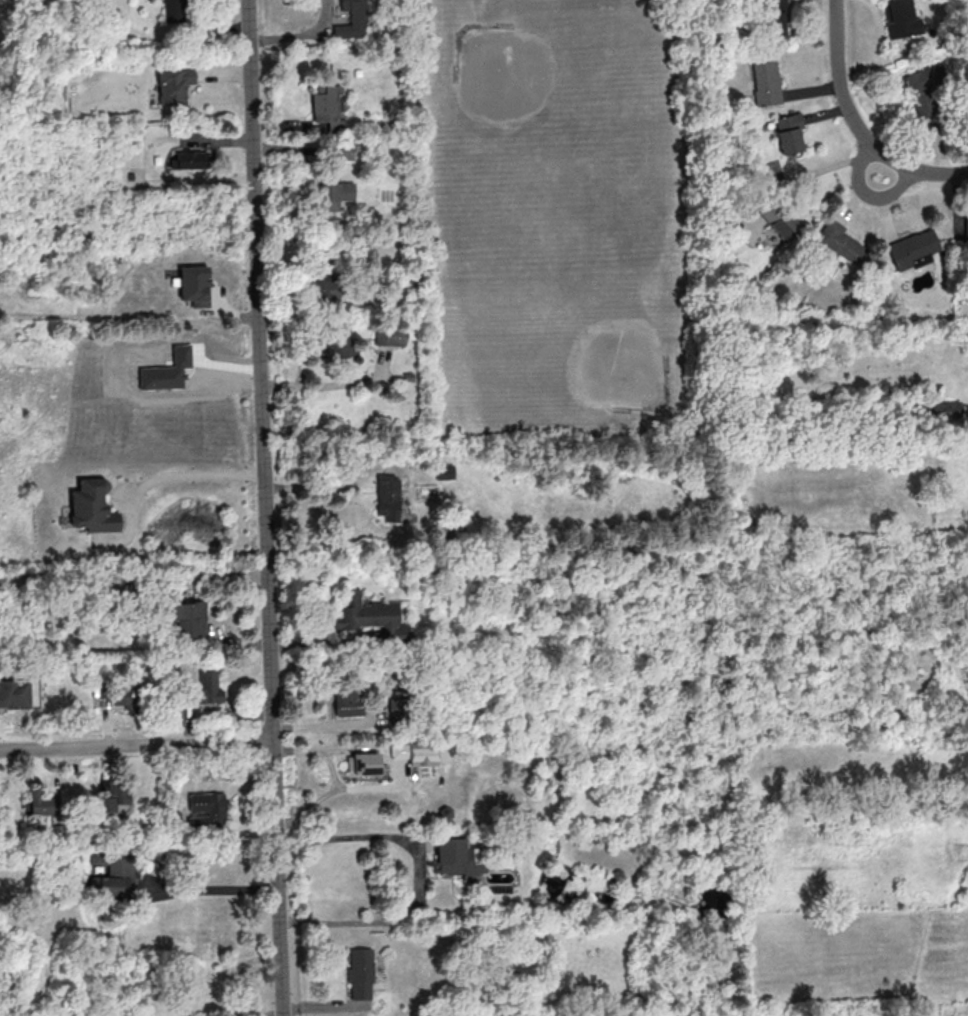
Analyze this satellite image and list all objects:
building: (175, 10)
building: (773, 16)
building: (352, 19)
building: (765, 80)
building: (174, 85)
road: (842, 89)
building: (924, 91)
building: (324, 103)
park: (535, 103)
building: (788, 133)
building: (344, 151)
building: (189, 159)
road: (929, 172)
building: (329, 196)
building: (777, 219)
building: (965, 228)
building: (840, 240)
building: (912, 248)
building: (193, 284)
building: (321, 288)
building: (388, 336)
park: (596, 341)
building: (331, 346)
building: (165, 370)
building: (944, 410)
building: (443, 471)
road: (159, 477)
building: (386, 496)
building: (91, 507)
road: (264, 508)
building: (364, 614)
building: (187, 619)
road: (770, 660)
building: (206, 687)
building: (14, 693)
building: (346, 700)
road: (136, 744)
building: (420, 753)
building: (111, 795)
building: (43, 801)
building: (206, 810)
building: (453, 857)
building: (111, 872)
road: (421, 876)
road: (208, 891)
building: (359, 972)

